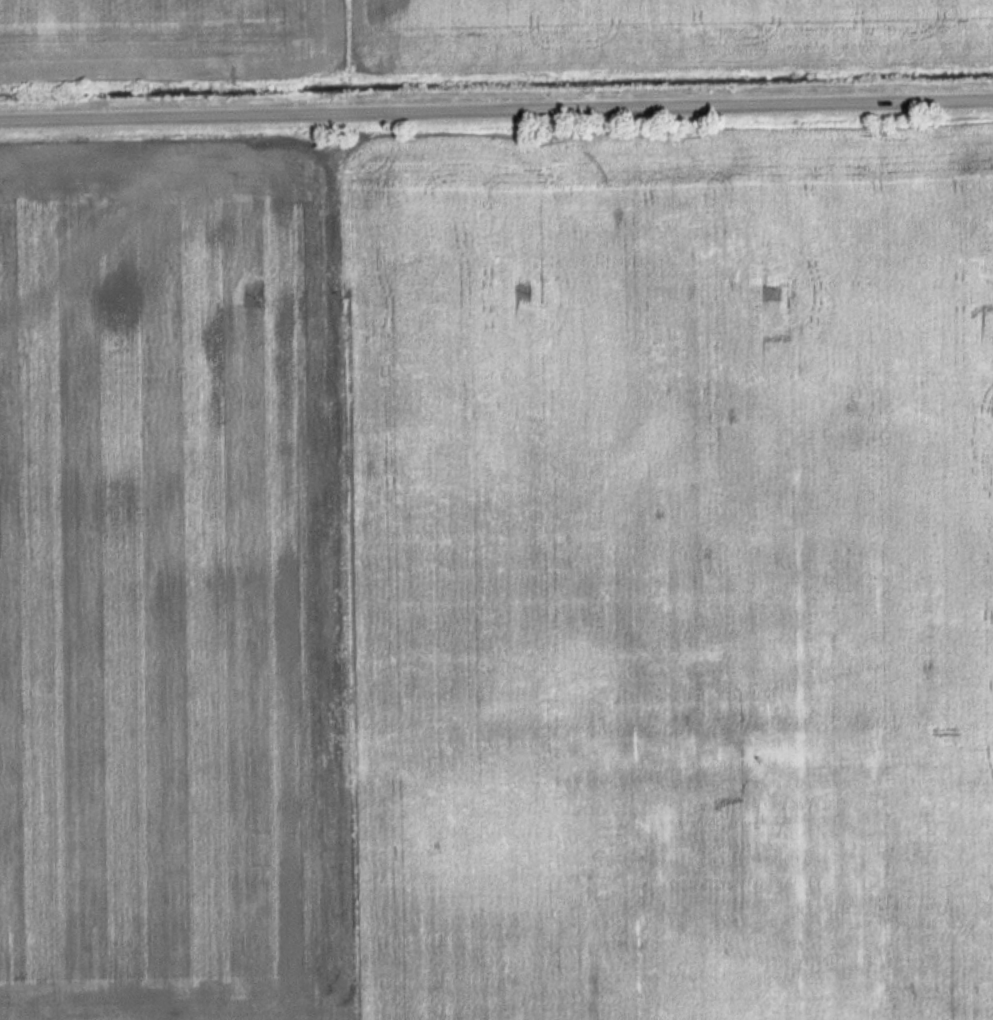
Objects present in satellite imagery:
road: (496, 112)

